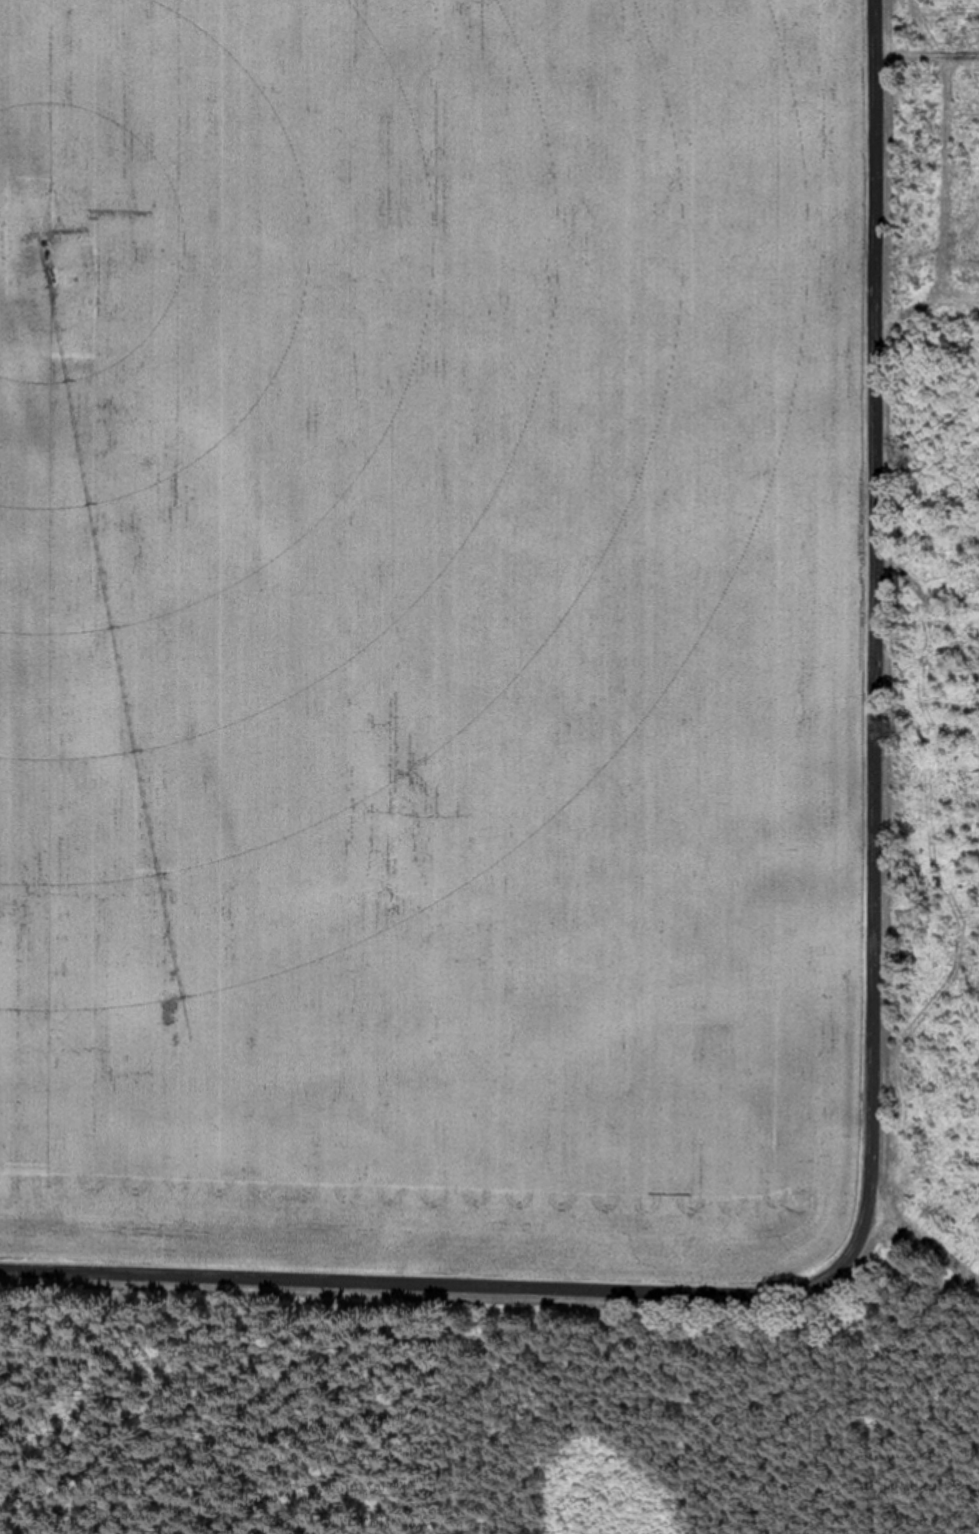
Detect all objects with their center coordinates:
road: (877, 1086)

